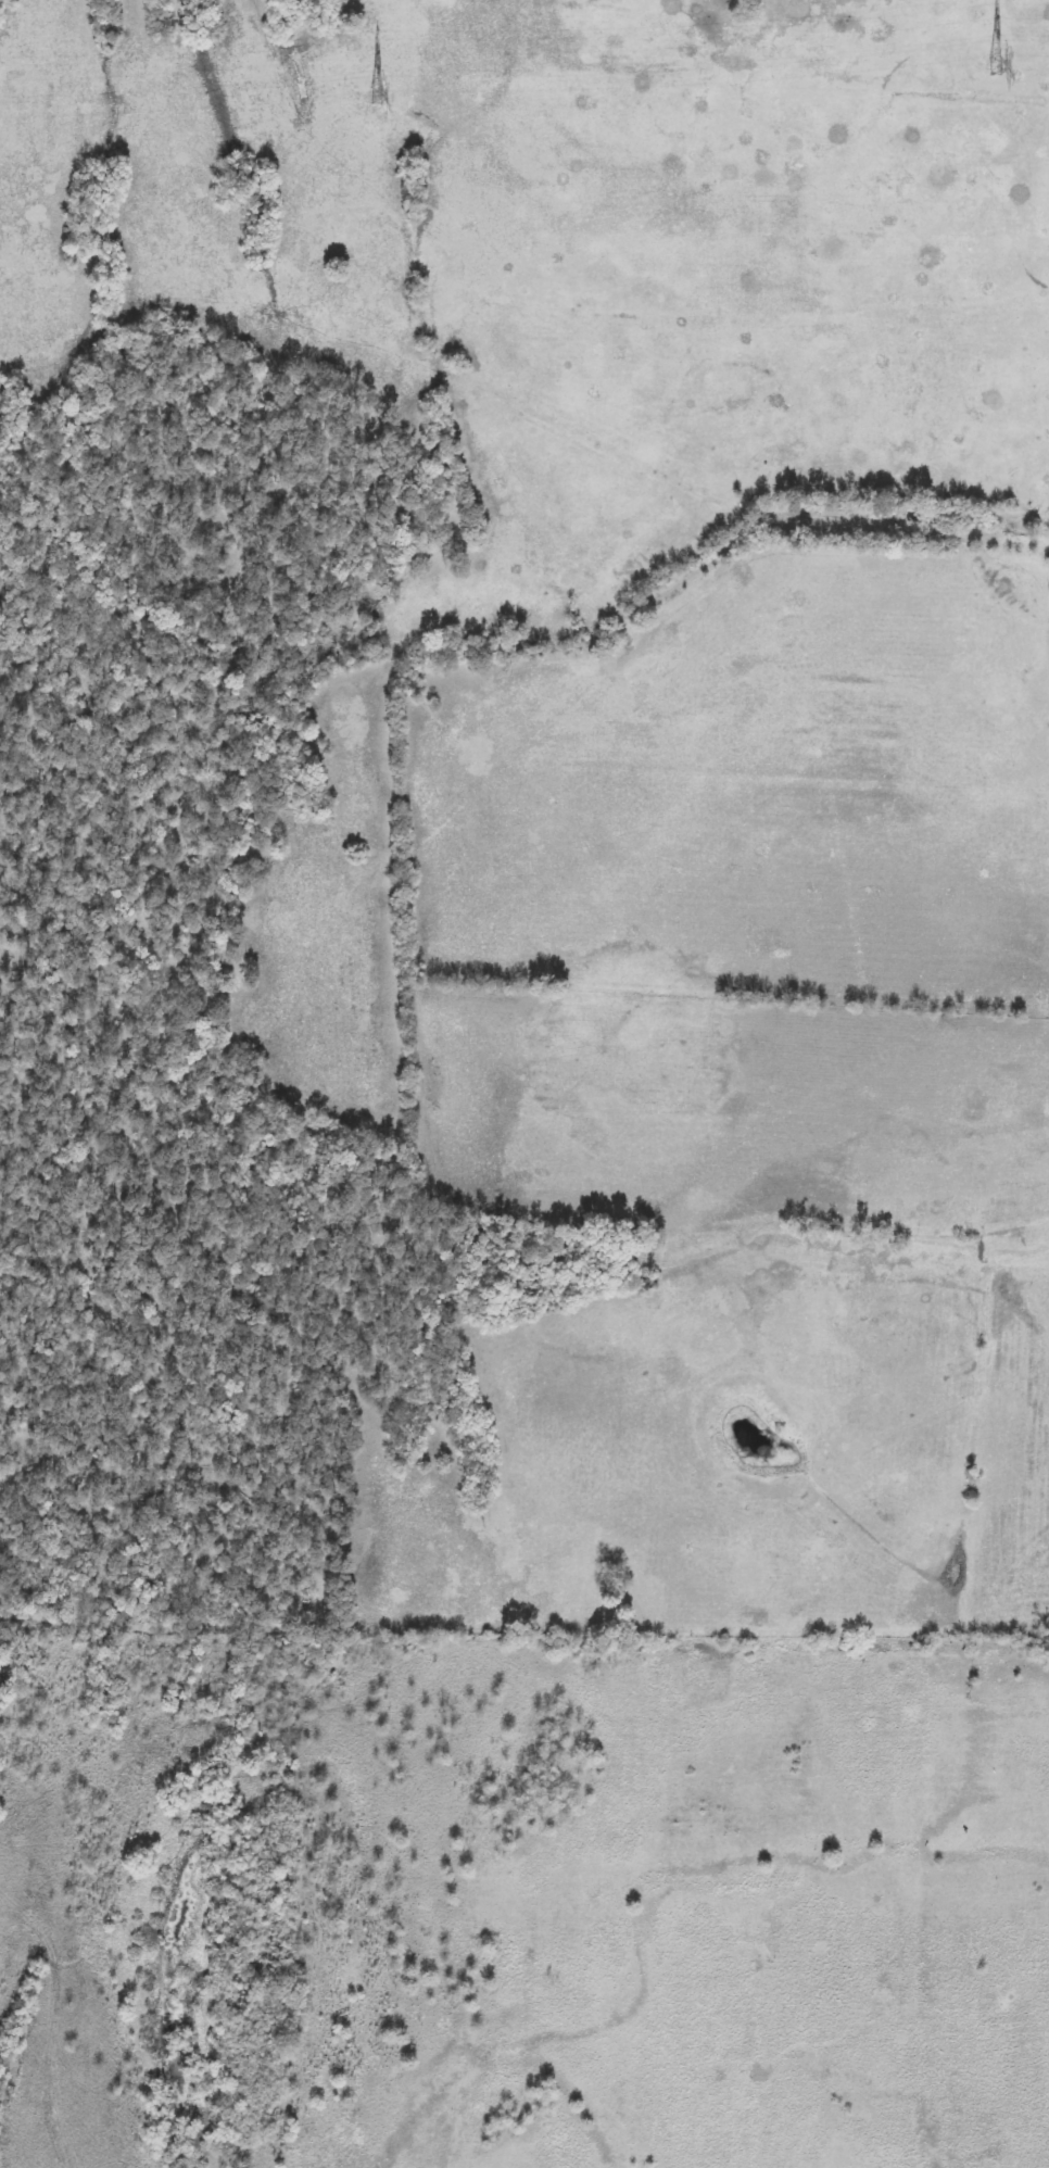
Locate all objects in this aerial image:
power tower: (998, 67)
power tower: (379, 98)

